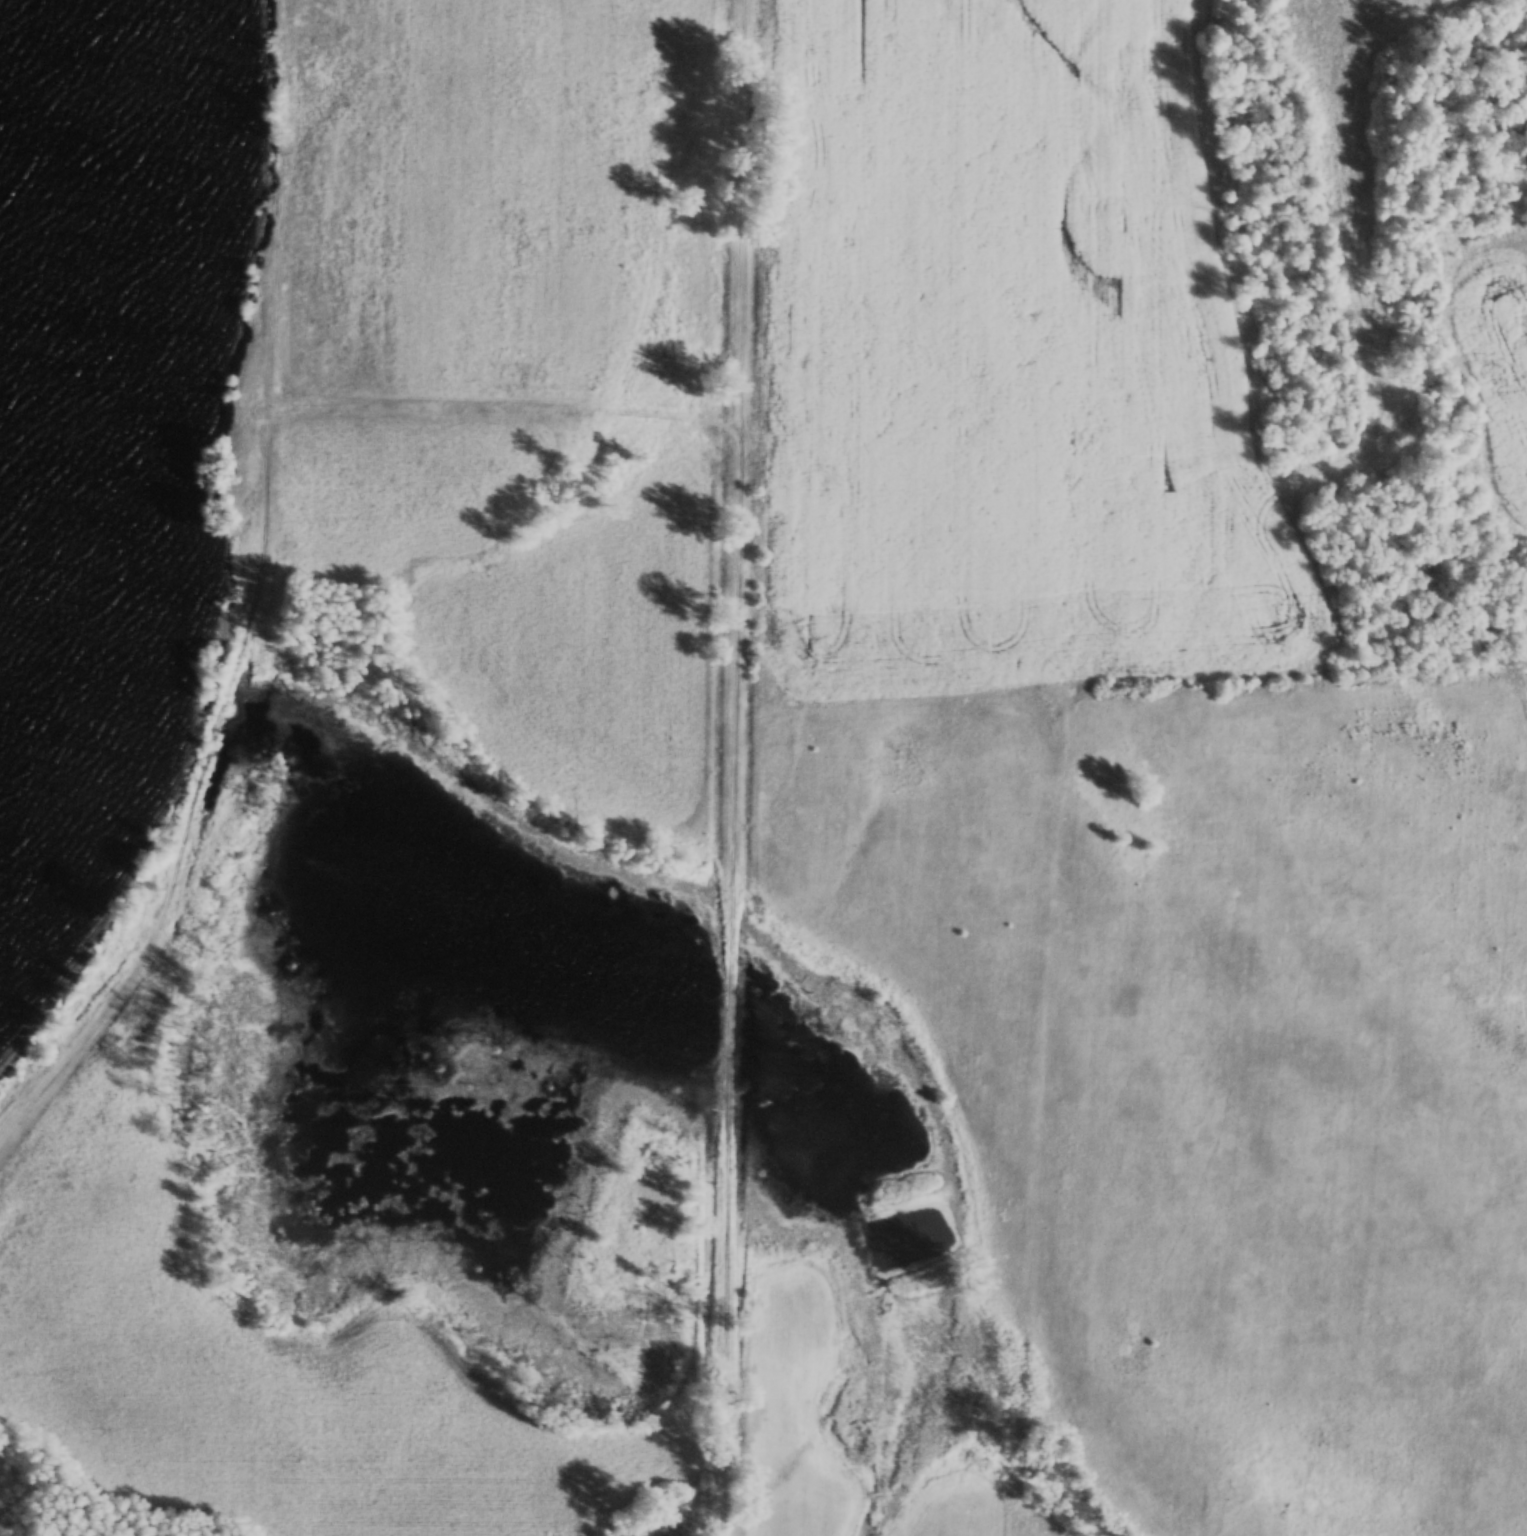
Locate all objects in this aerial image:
road: (503, 408)
road: (256, 601)
road: (734, 767)

